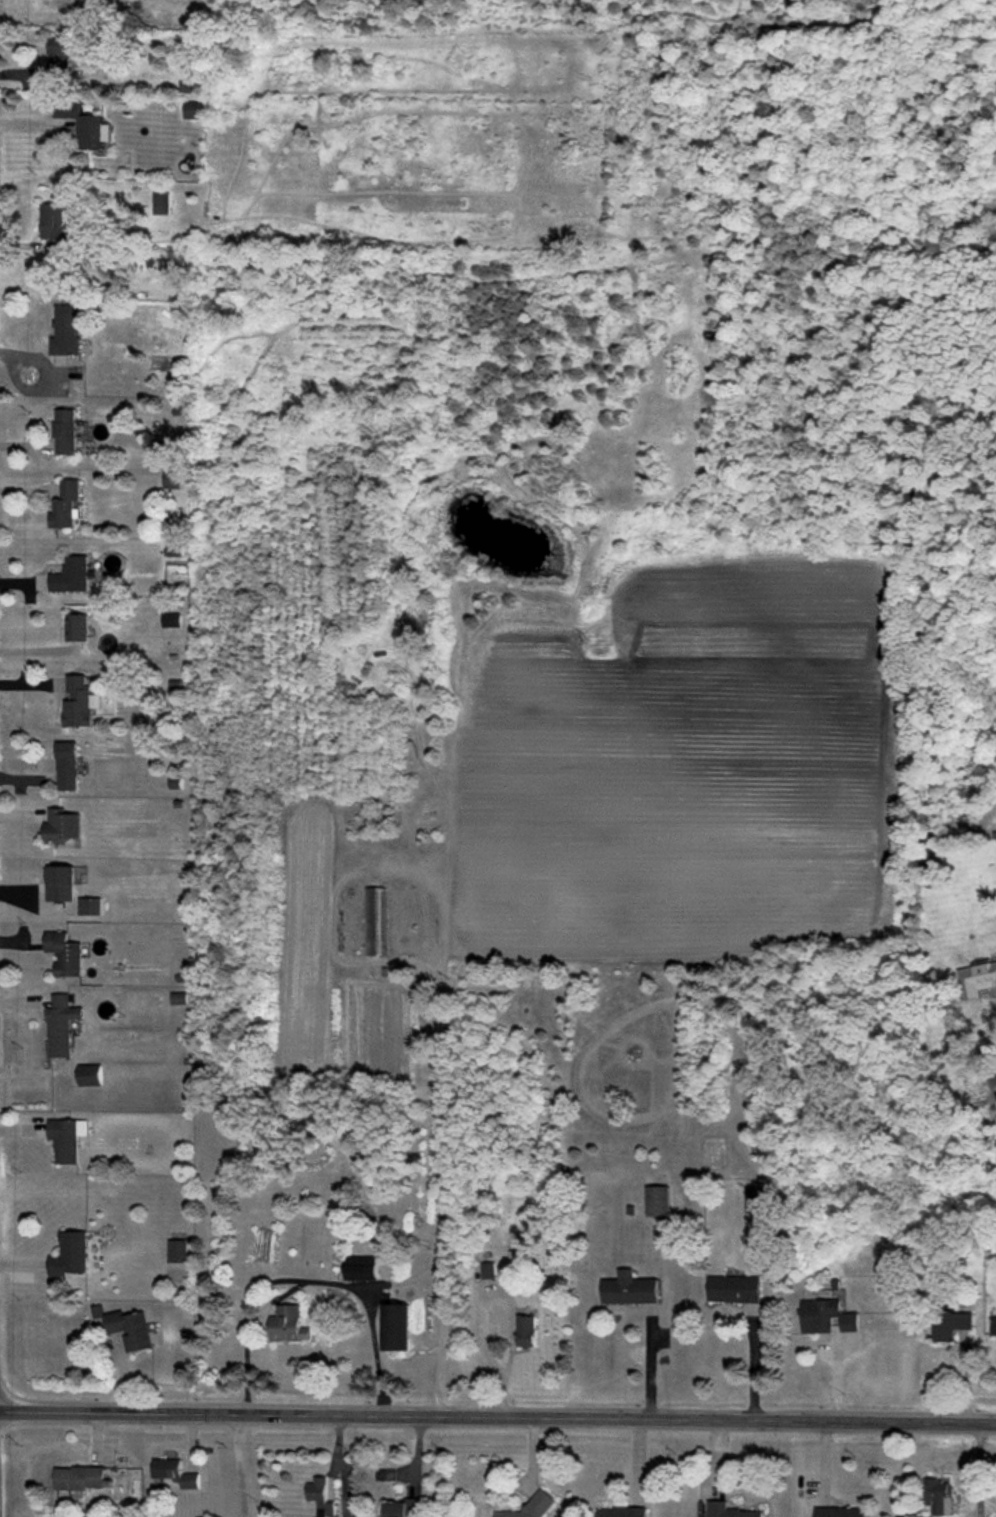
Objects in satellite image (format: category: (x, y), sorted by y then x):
building: (59, 56)
building: (193, 110)
building: (84, 124)
building: (161, 203)
building: (54, 222)
building: (66, 330)
building: (66, 431)
building: (168, 448)
building: (171, 480)
building: (66, 504)
building: (174, 549)
building: (72, 575)
building: (172, 620)
building: (78, 627)
building: (80, 702)
building: (68, 766)
building: (62, 826)
building: (61, 883)
building: (90, 906)
building: (374, 921)
building: (65, 954)
building: (977, 979)
building: (62, 1025)
building: (91, 1075)
building: (65, 1140)
building: (755, 1199)
building: (658, 1201)
building: (177, 1251)
building: (70, 1254)
building: (362, 1268)
building: (487, 1270)
building: (883, 1282)
building: (629, 1289)
building: (734, 1289)
building: (819, 1315)
building: (849, 1322)
building: (288, 1324)
building: (950, 1324)
building: (994, 1325)
building: (127, 1327)
building: (396, 1327)
building: (525, 1331)
road: (498, 1414)
road: (239, 1463)
road: (977, 1468)
building: (176, 1472)
building: (79, 1478)
building: (940, 1496)
building: (321, 1497)
building: (532, 1507)
building: (403, 1508)
building: (729, 1510)
building: (621, 1512)
building: (840, 1512)

